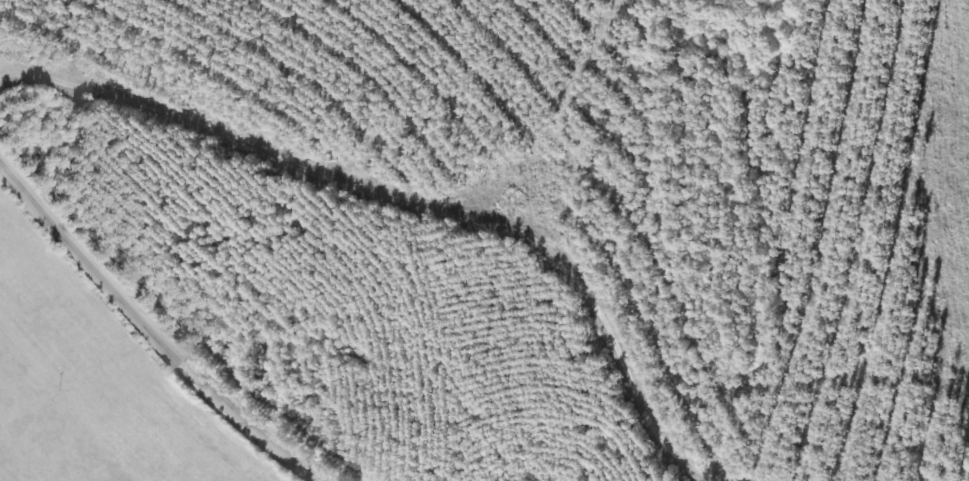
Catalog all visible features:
road: (443, 195)
road: (151, 329)

